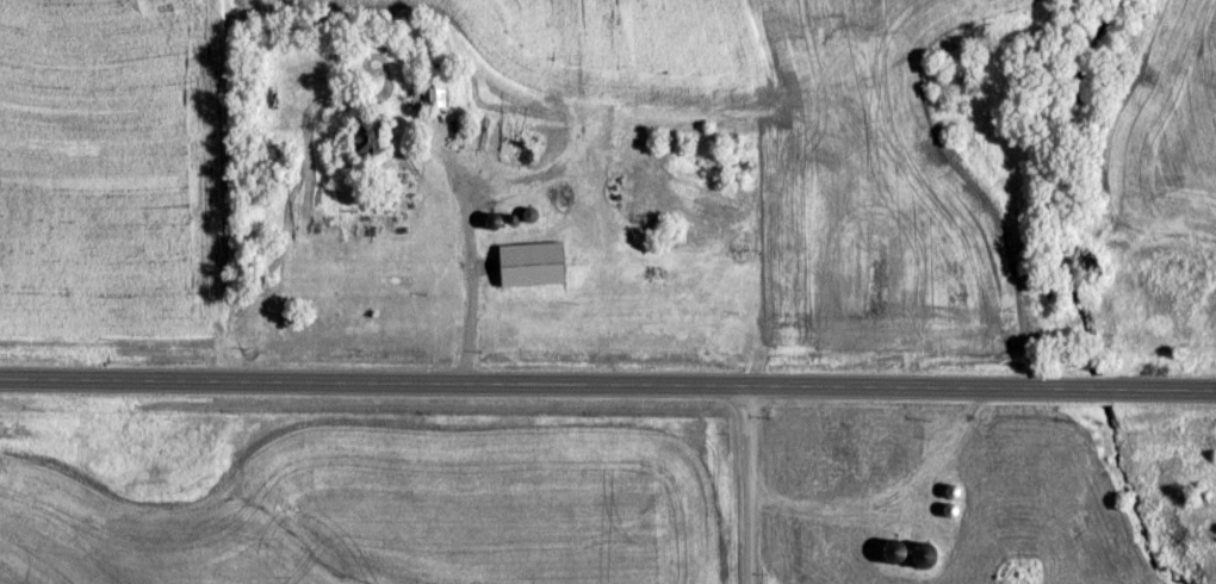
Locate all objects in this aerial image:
building: (428, 95)
building: (532, 261)
road: (607, 383)
building: (837, 439)
road: (745, 484)
building: (825, 541)

